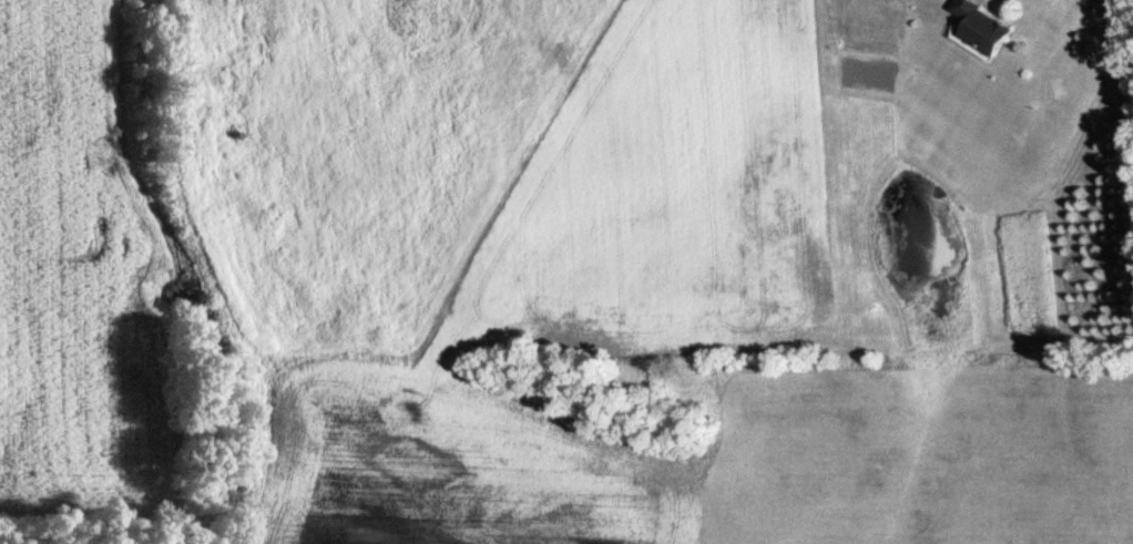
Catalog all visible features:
building: (973, 27)

